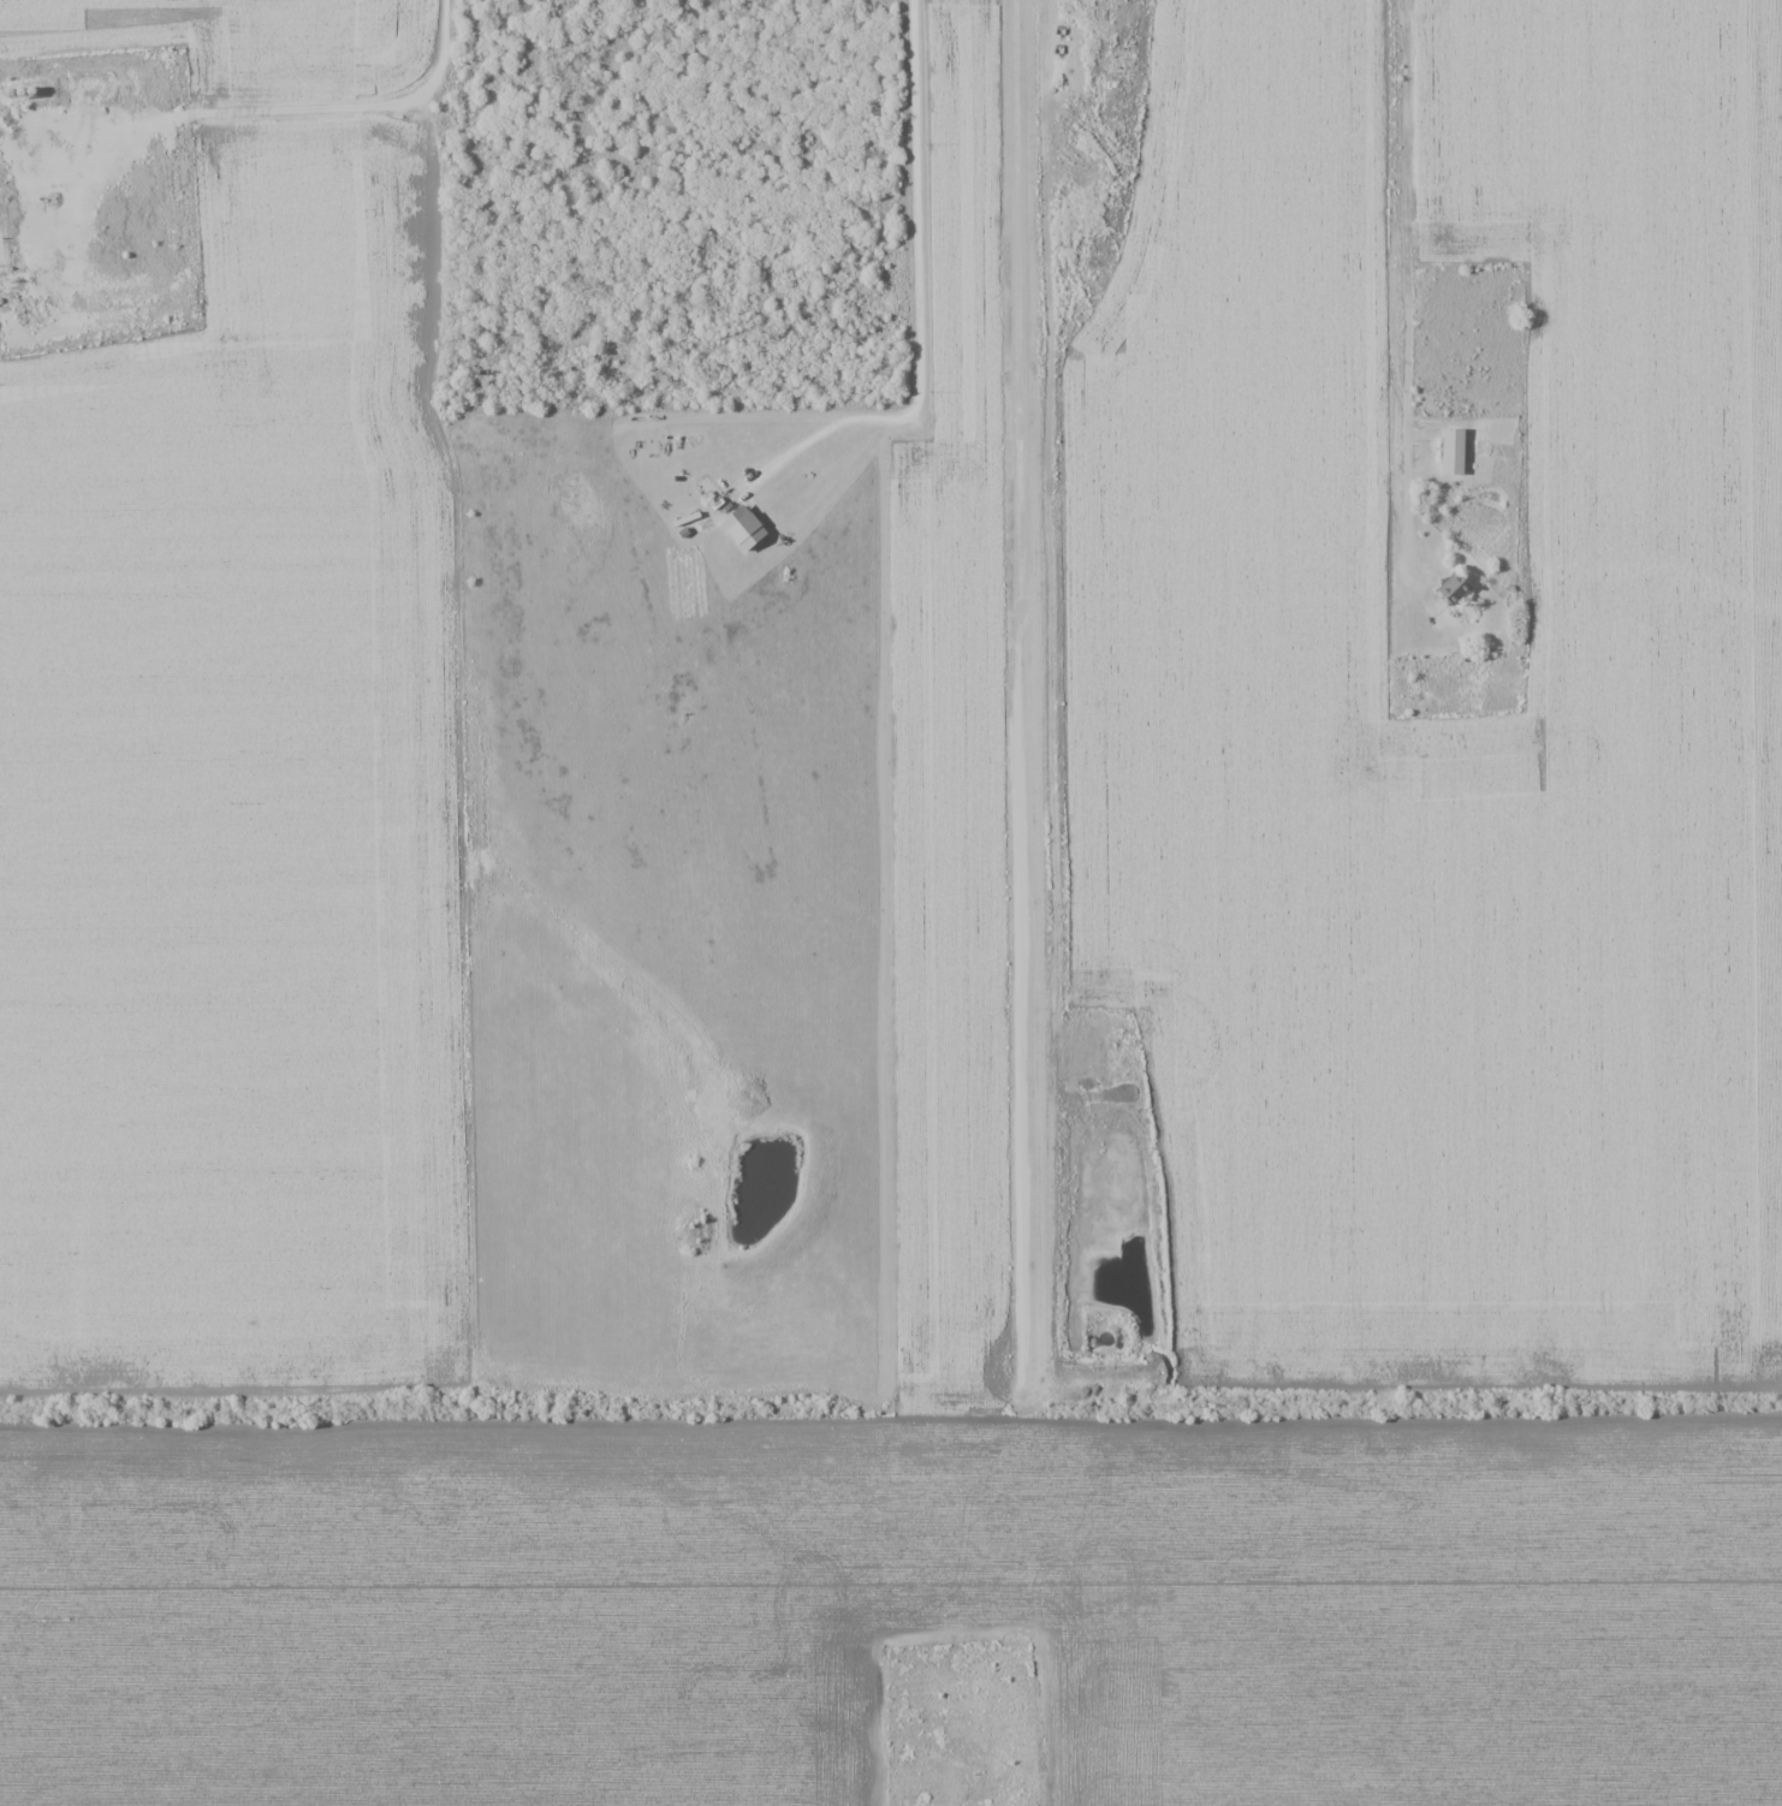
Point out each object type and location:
road: (271, 109)
road: (917, 308)
building: (1451, 452)
building: (742, 528)
building: (1453, 593)

